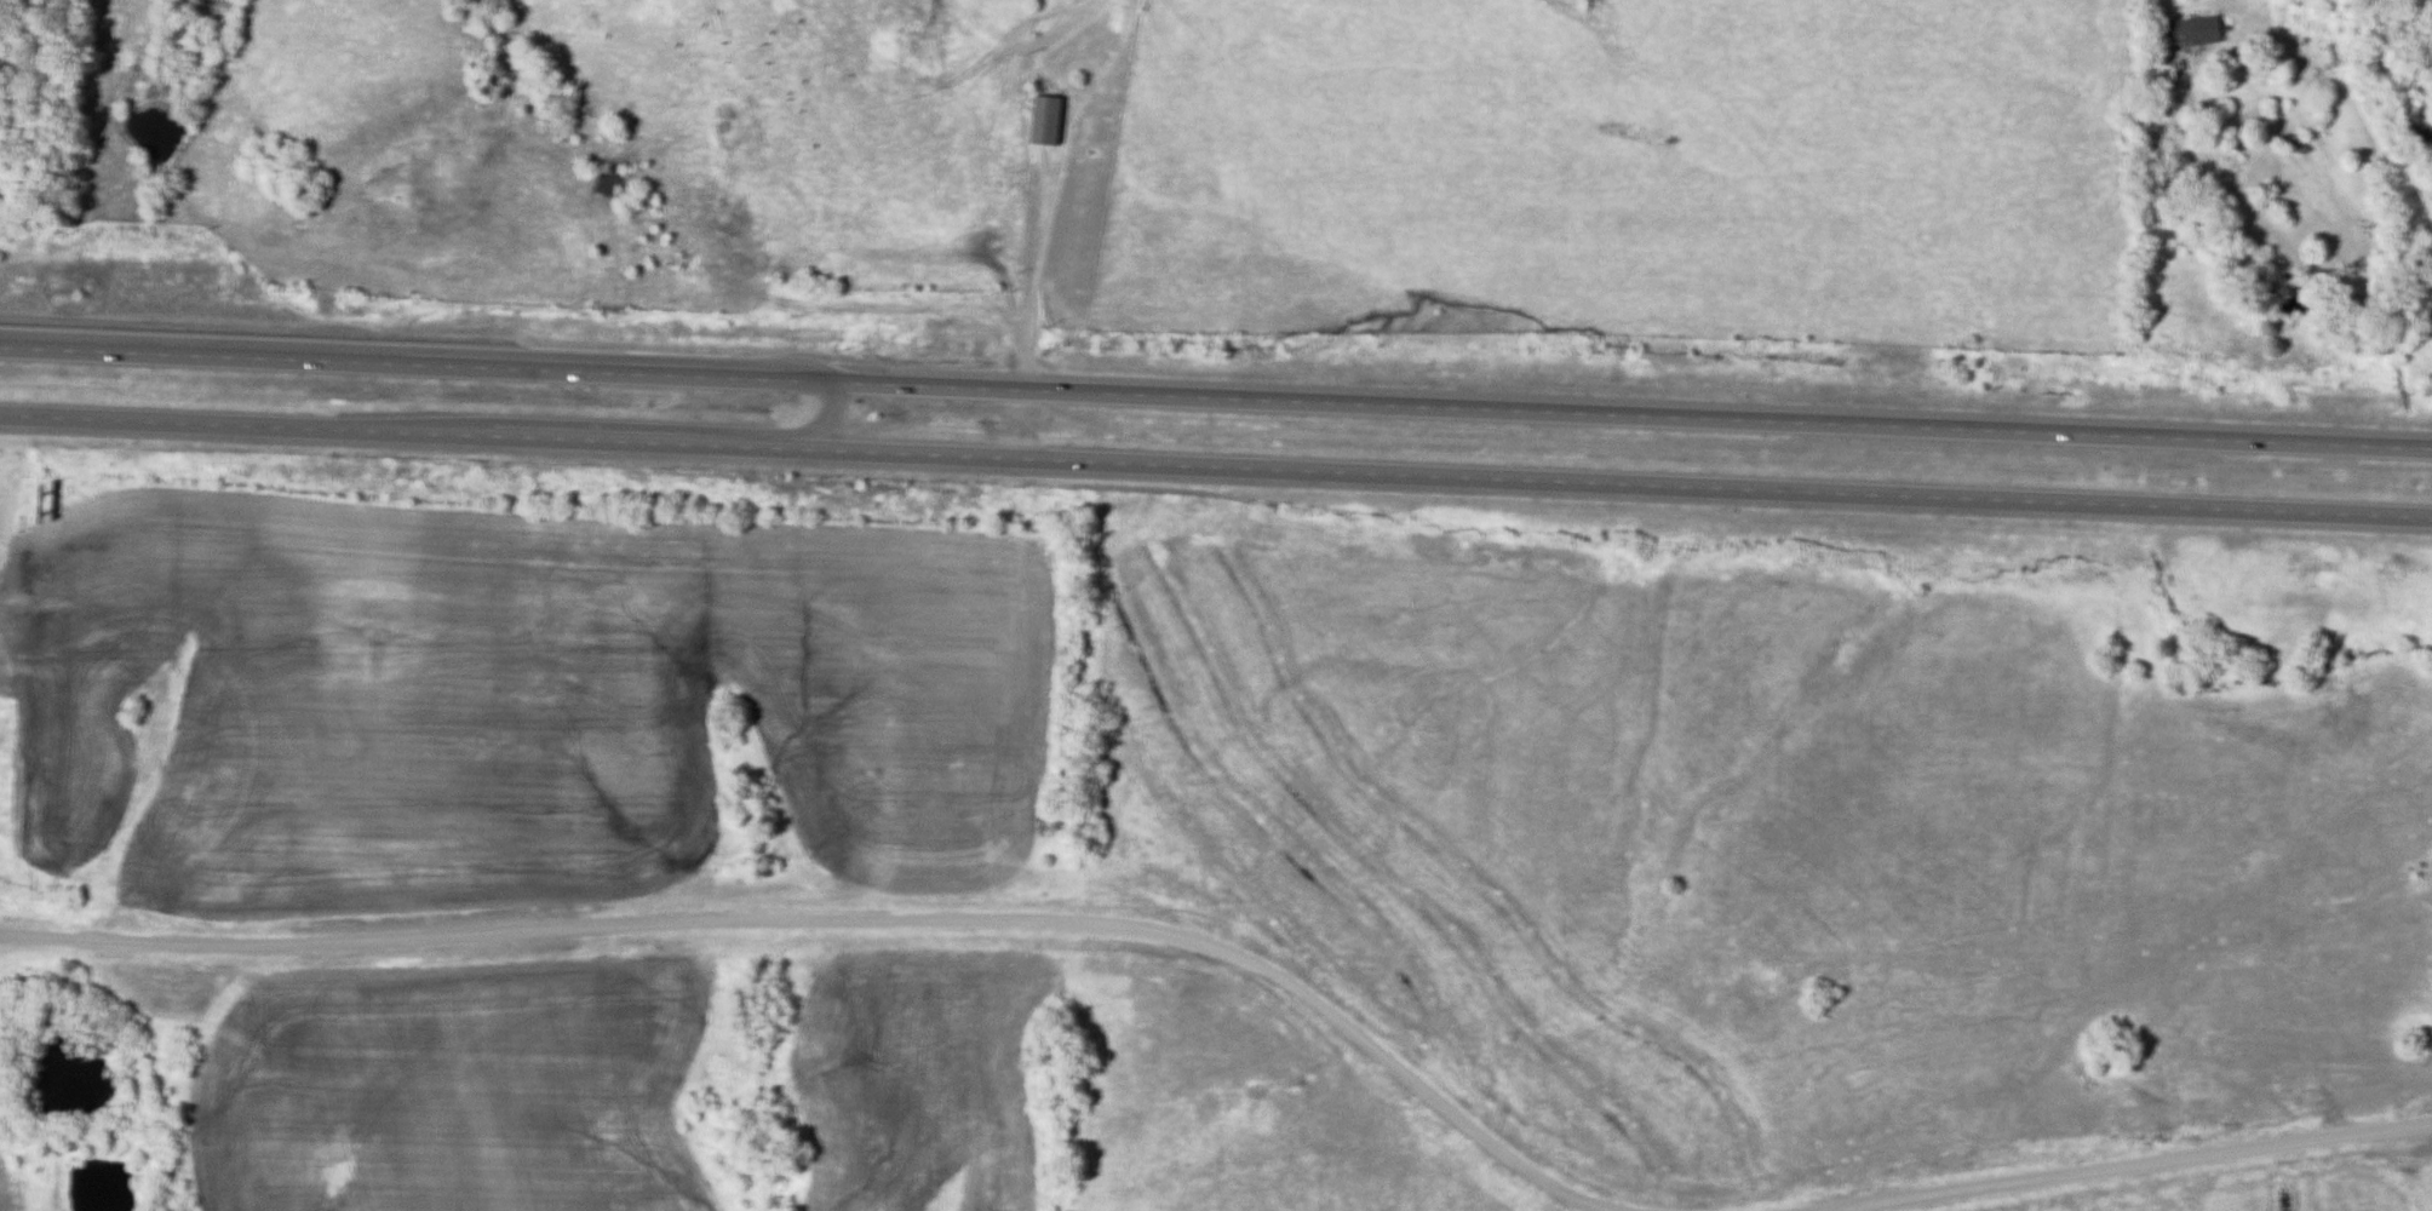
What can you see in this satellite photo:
building: (2195, 34)
building: (1048, 122)
road: (2266, 229)
road: (1037, 251)
road: (1216, 402)
road: (562, 419)
building: (434, 441)
road: (1215, 476)
crop: (507, 699)
road: (850, 916)
crop: (916, 1081)
crop: (455, 1091)
road: (2135, 1170)
crop: (5, 1178)

